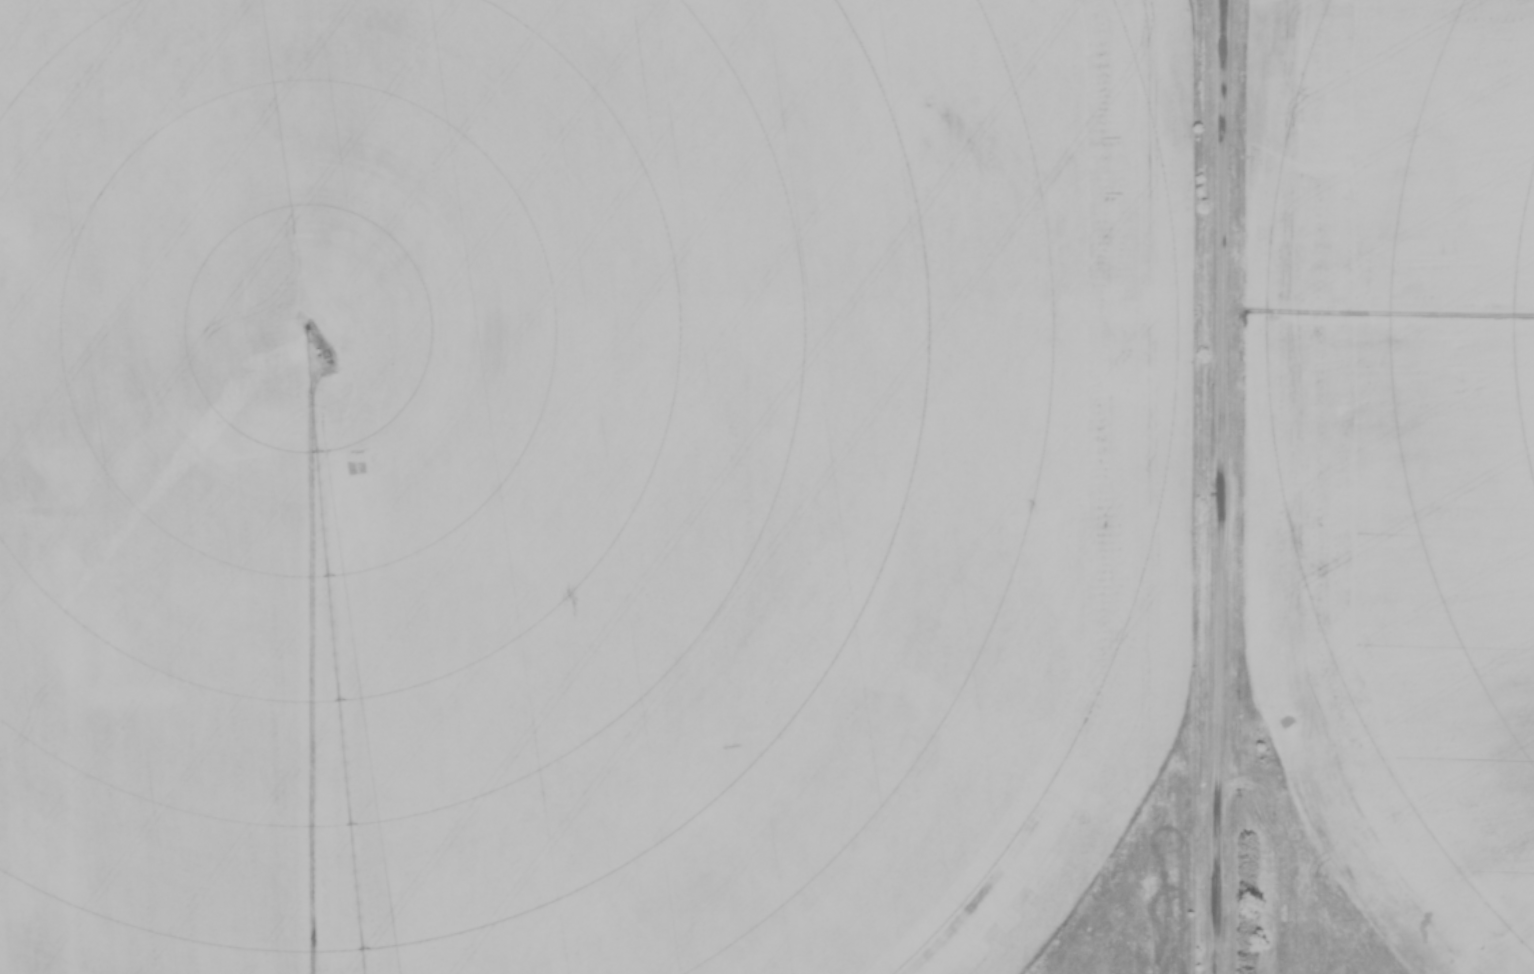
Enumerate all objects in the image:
road: (1219, 486)

